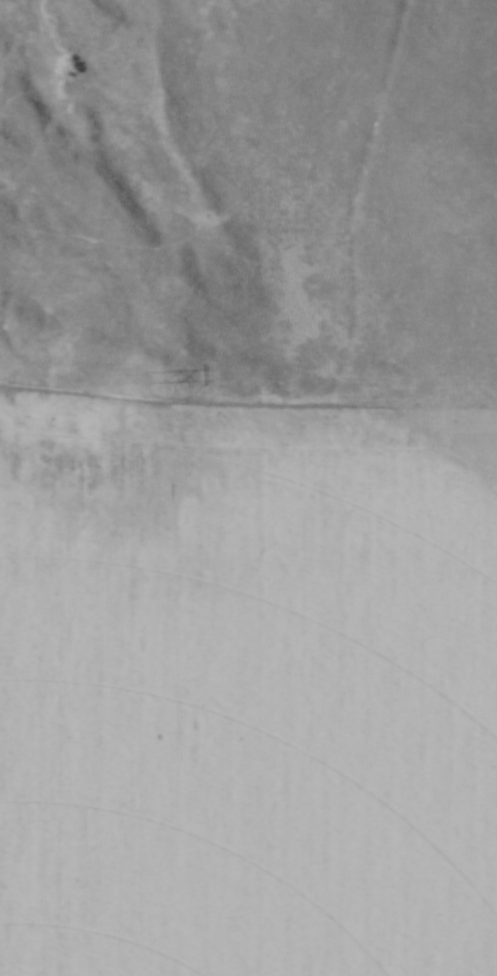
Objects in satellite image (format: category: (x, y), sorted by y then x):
power tower: (158, 377)

